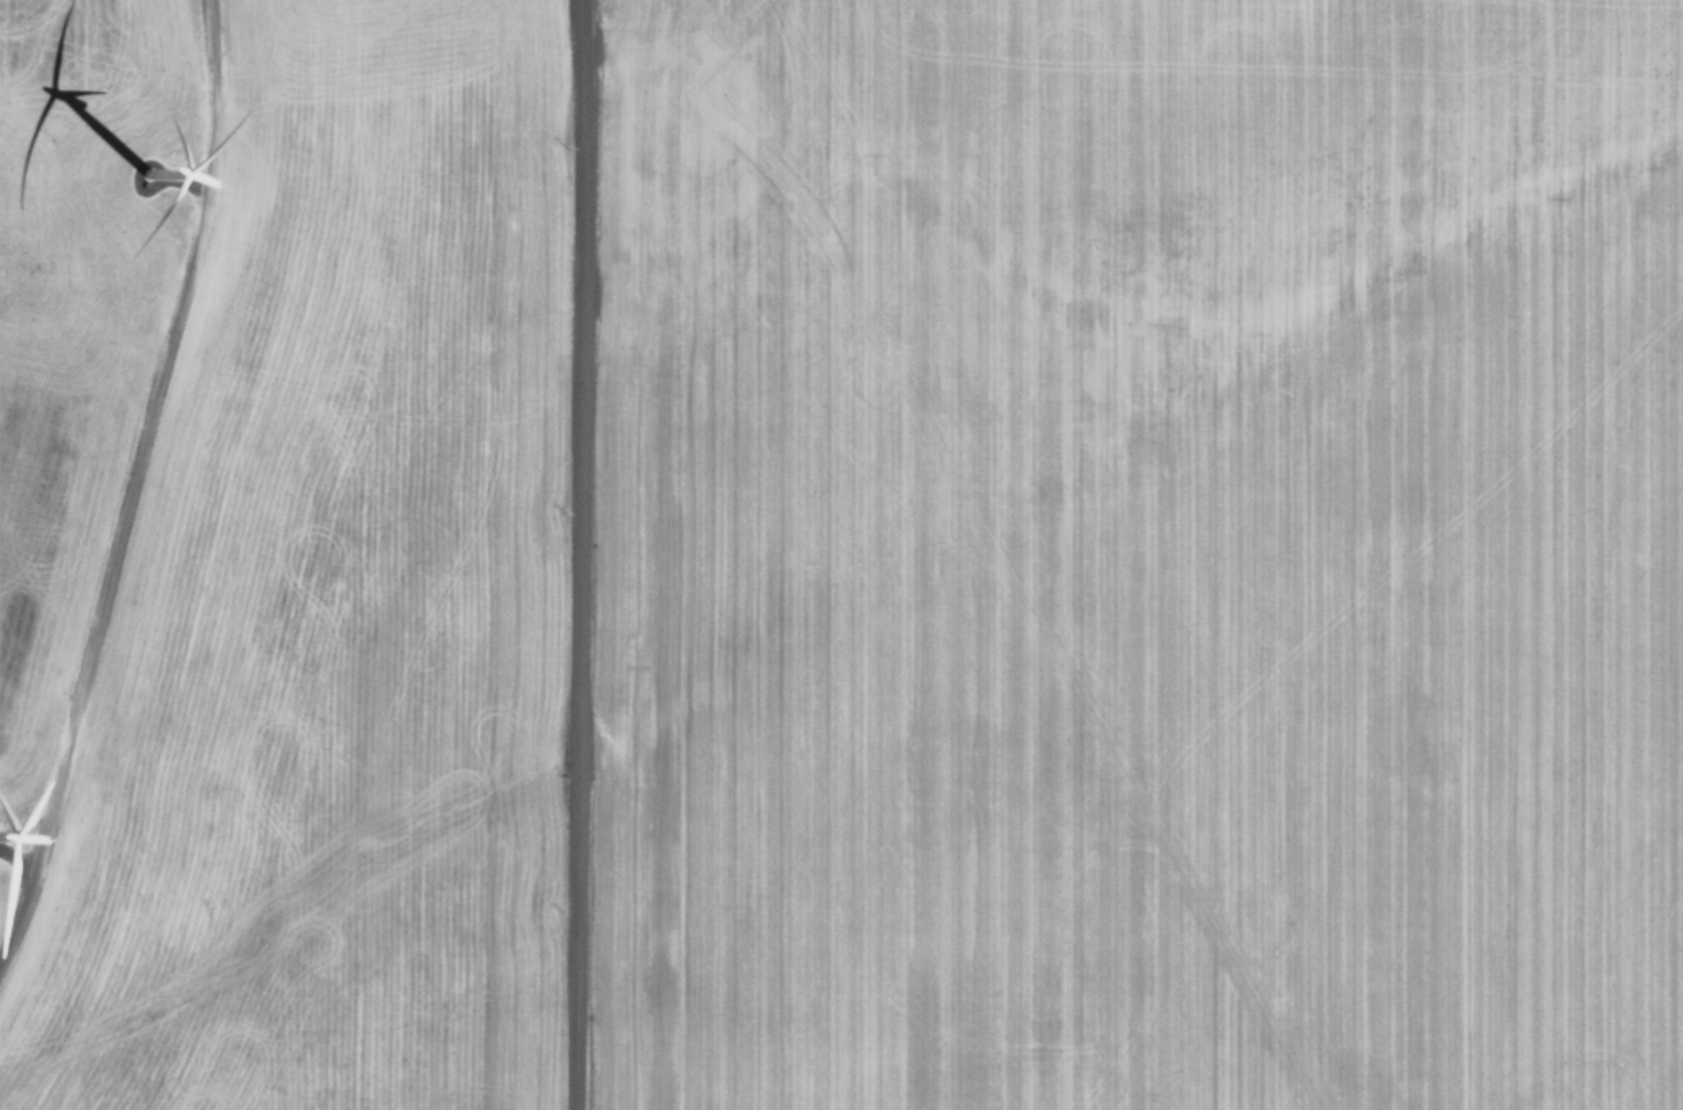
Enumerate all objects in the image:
wind turbine: (129, 176)
road: (583, 554)

